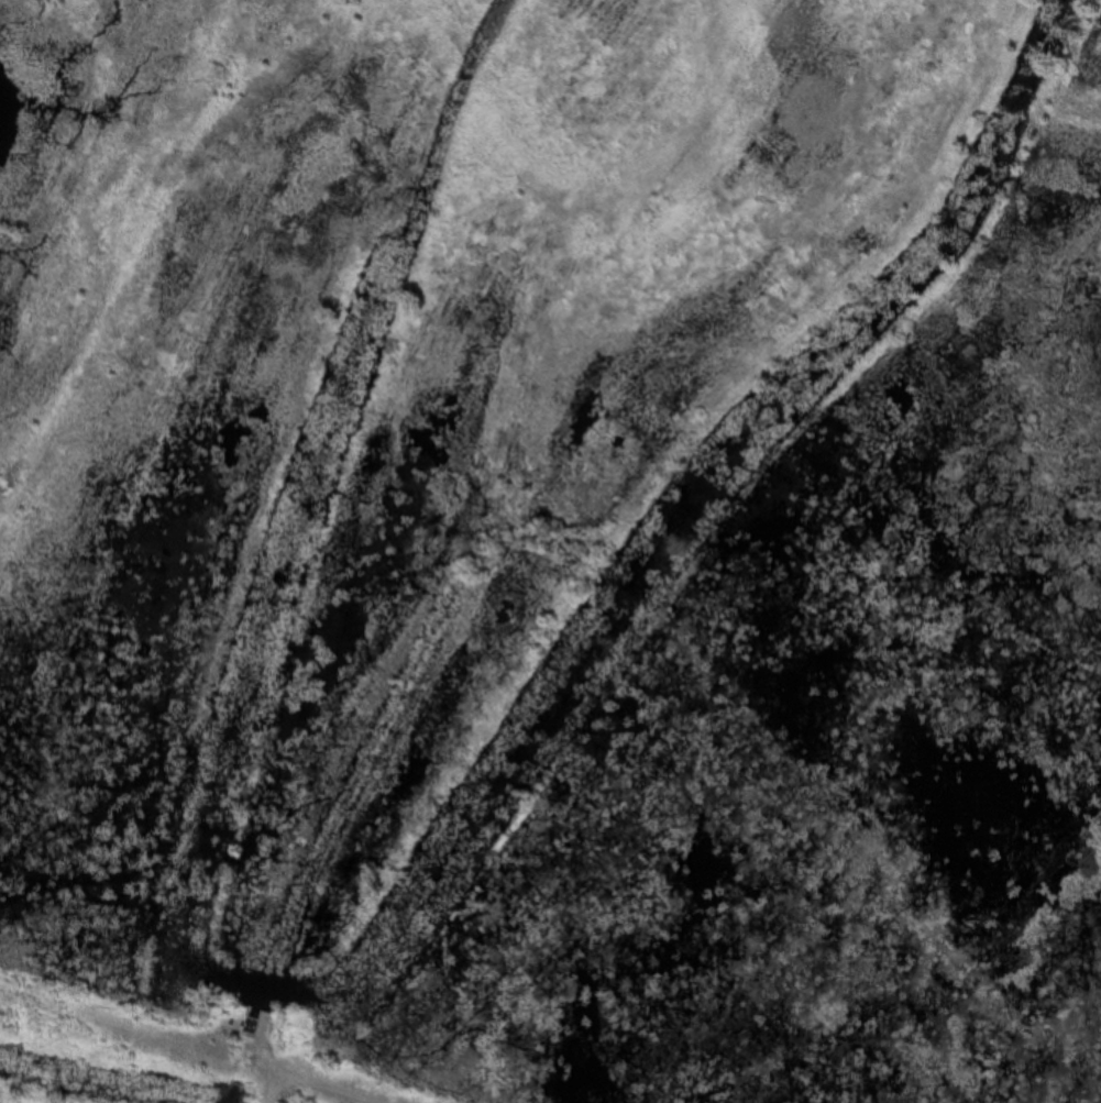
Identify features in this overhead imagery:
road: (341, 1096)

